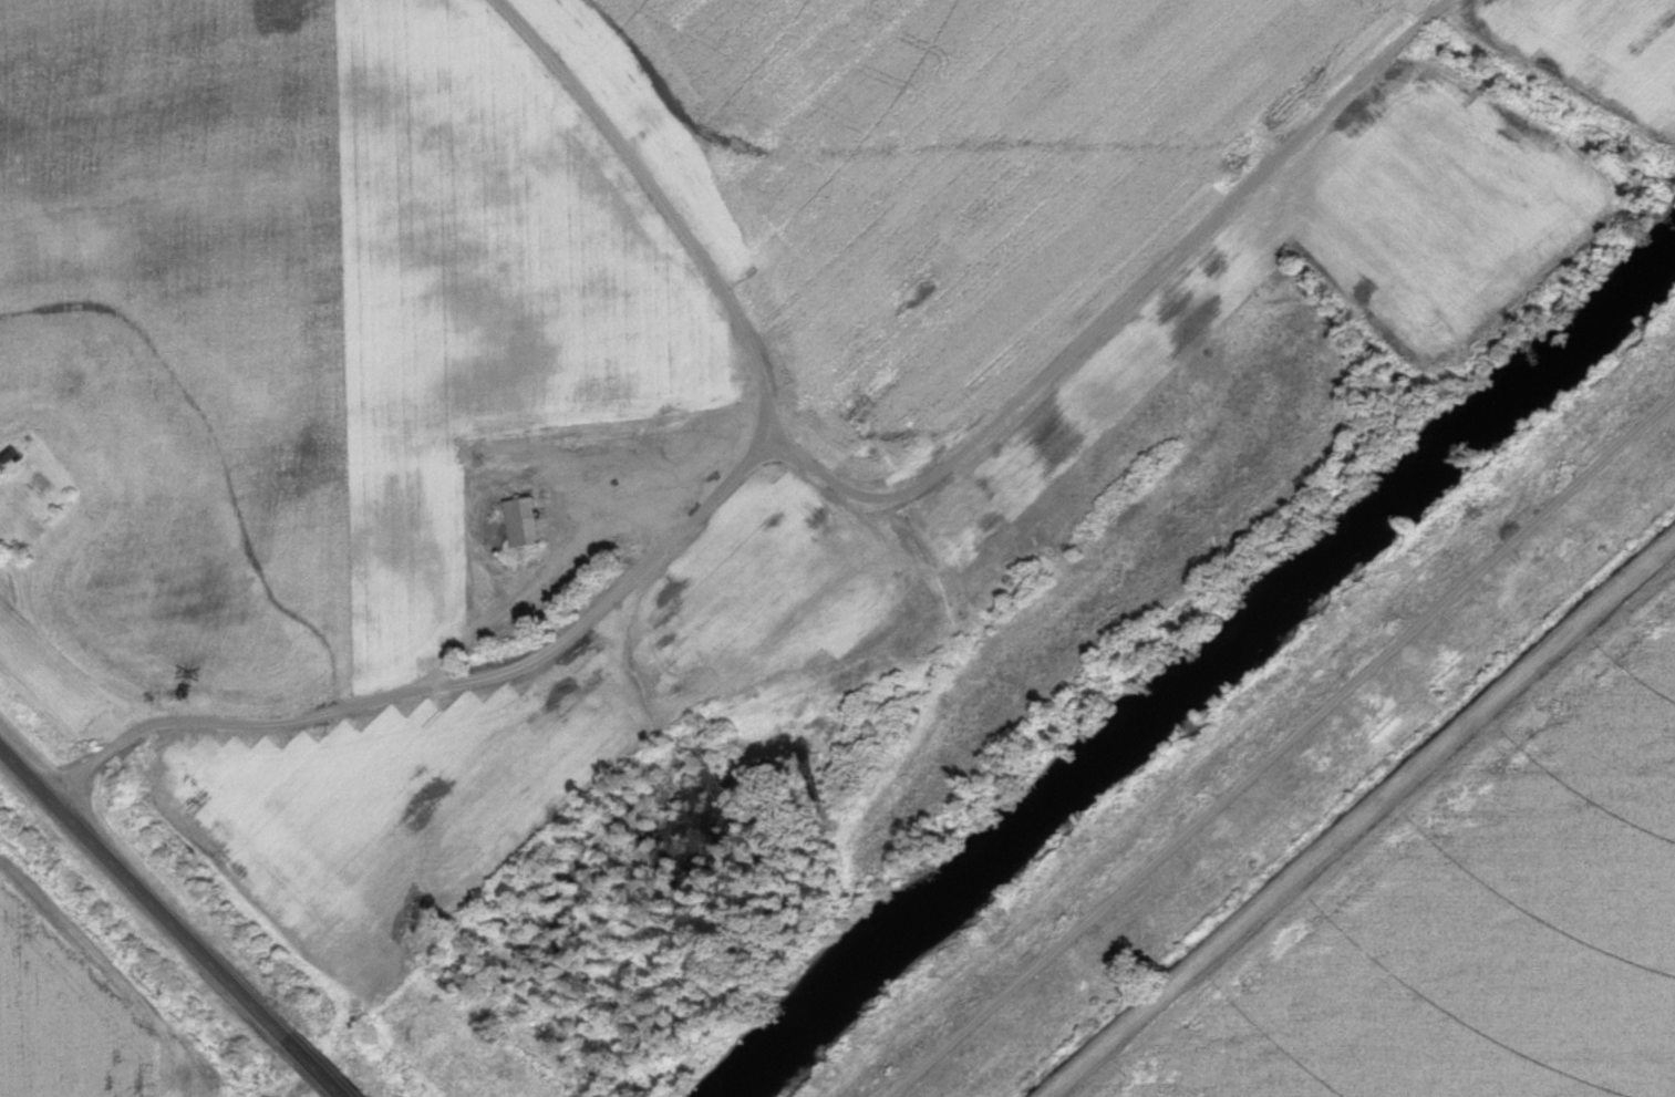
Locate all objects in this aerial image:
building: (10, 454)
road: (797, 460)
building: (524, 521)
road: (485, 618)
river: (1195, 667)
road: (1284, 749)
road: (145, 886)
road: (320, 1065)

